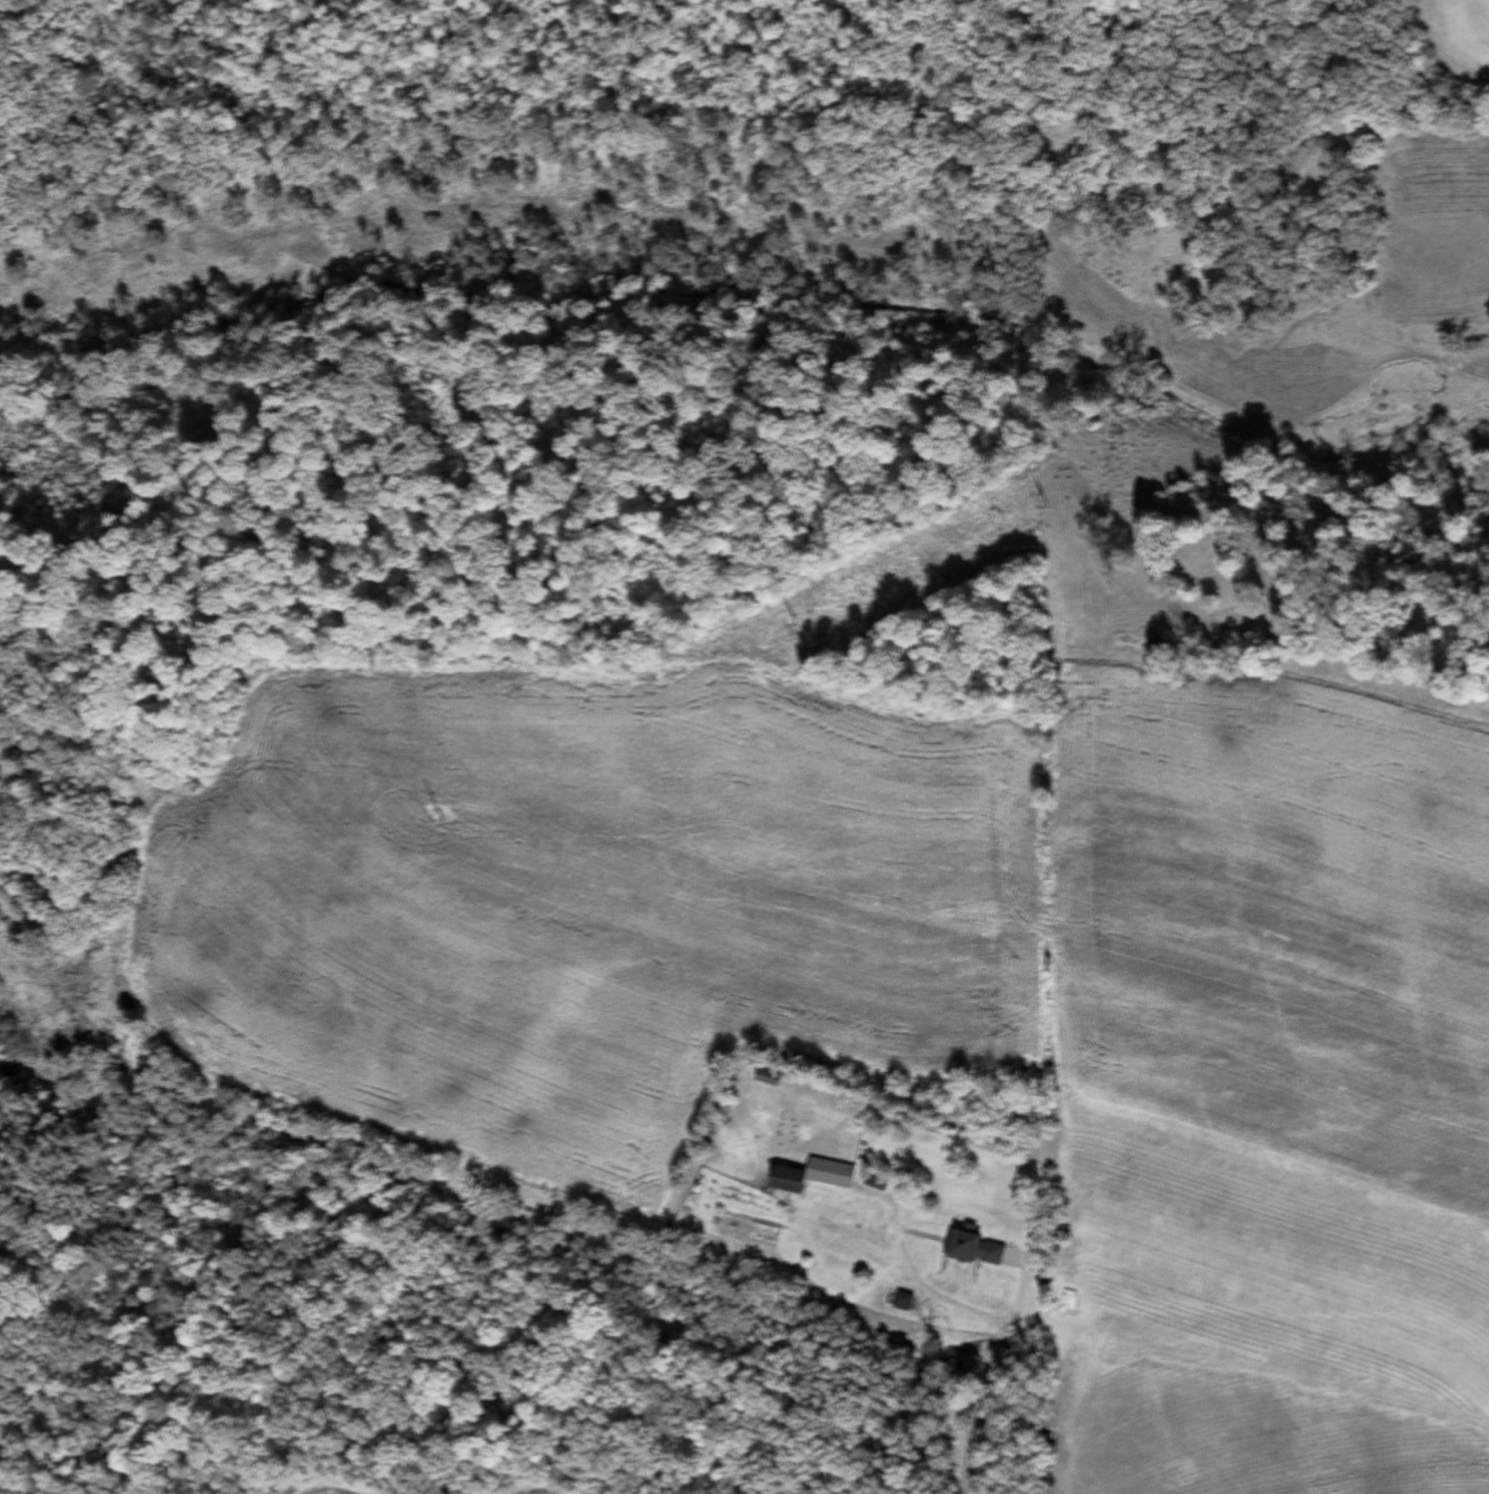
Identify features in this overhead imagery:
power tower: (1046, 500)
power tower: (799, 627)
power tower: (437, 814)
building: (810, 1176)
building: (972, 1249)
road: (1001, 1414)

